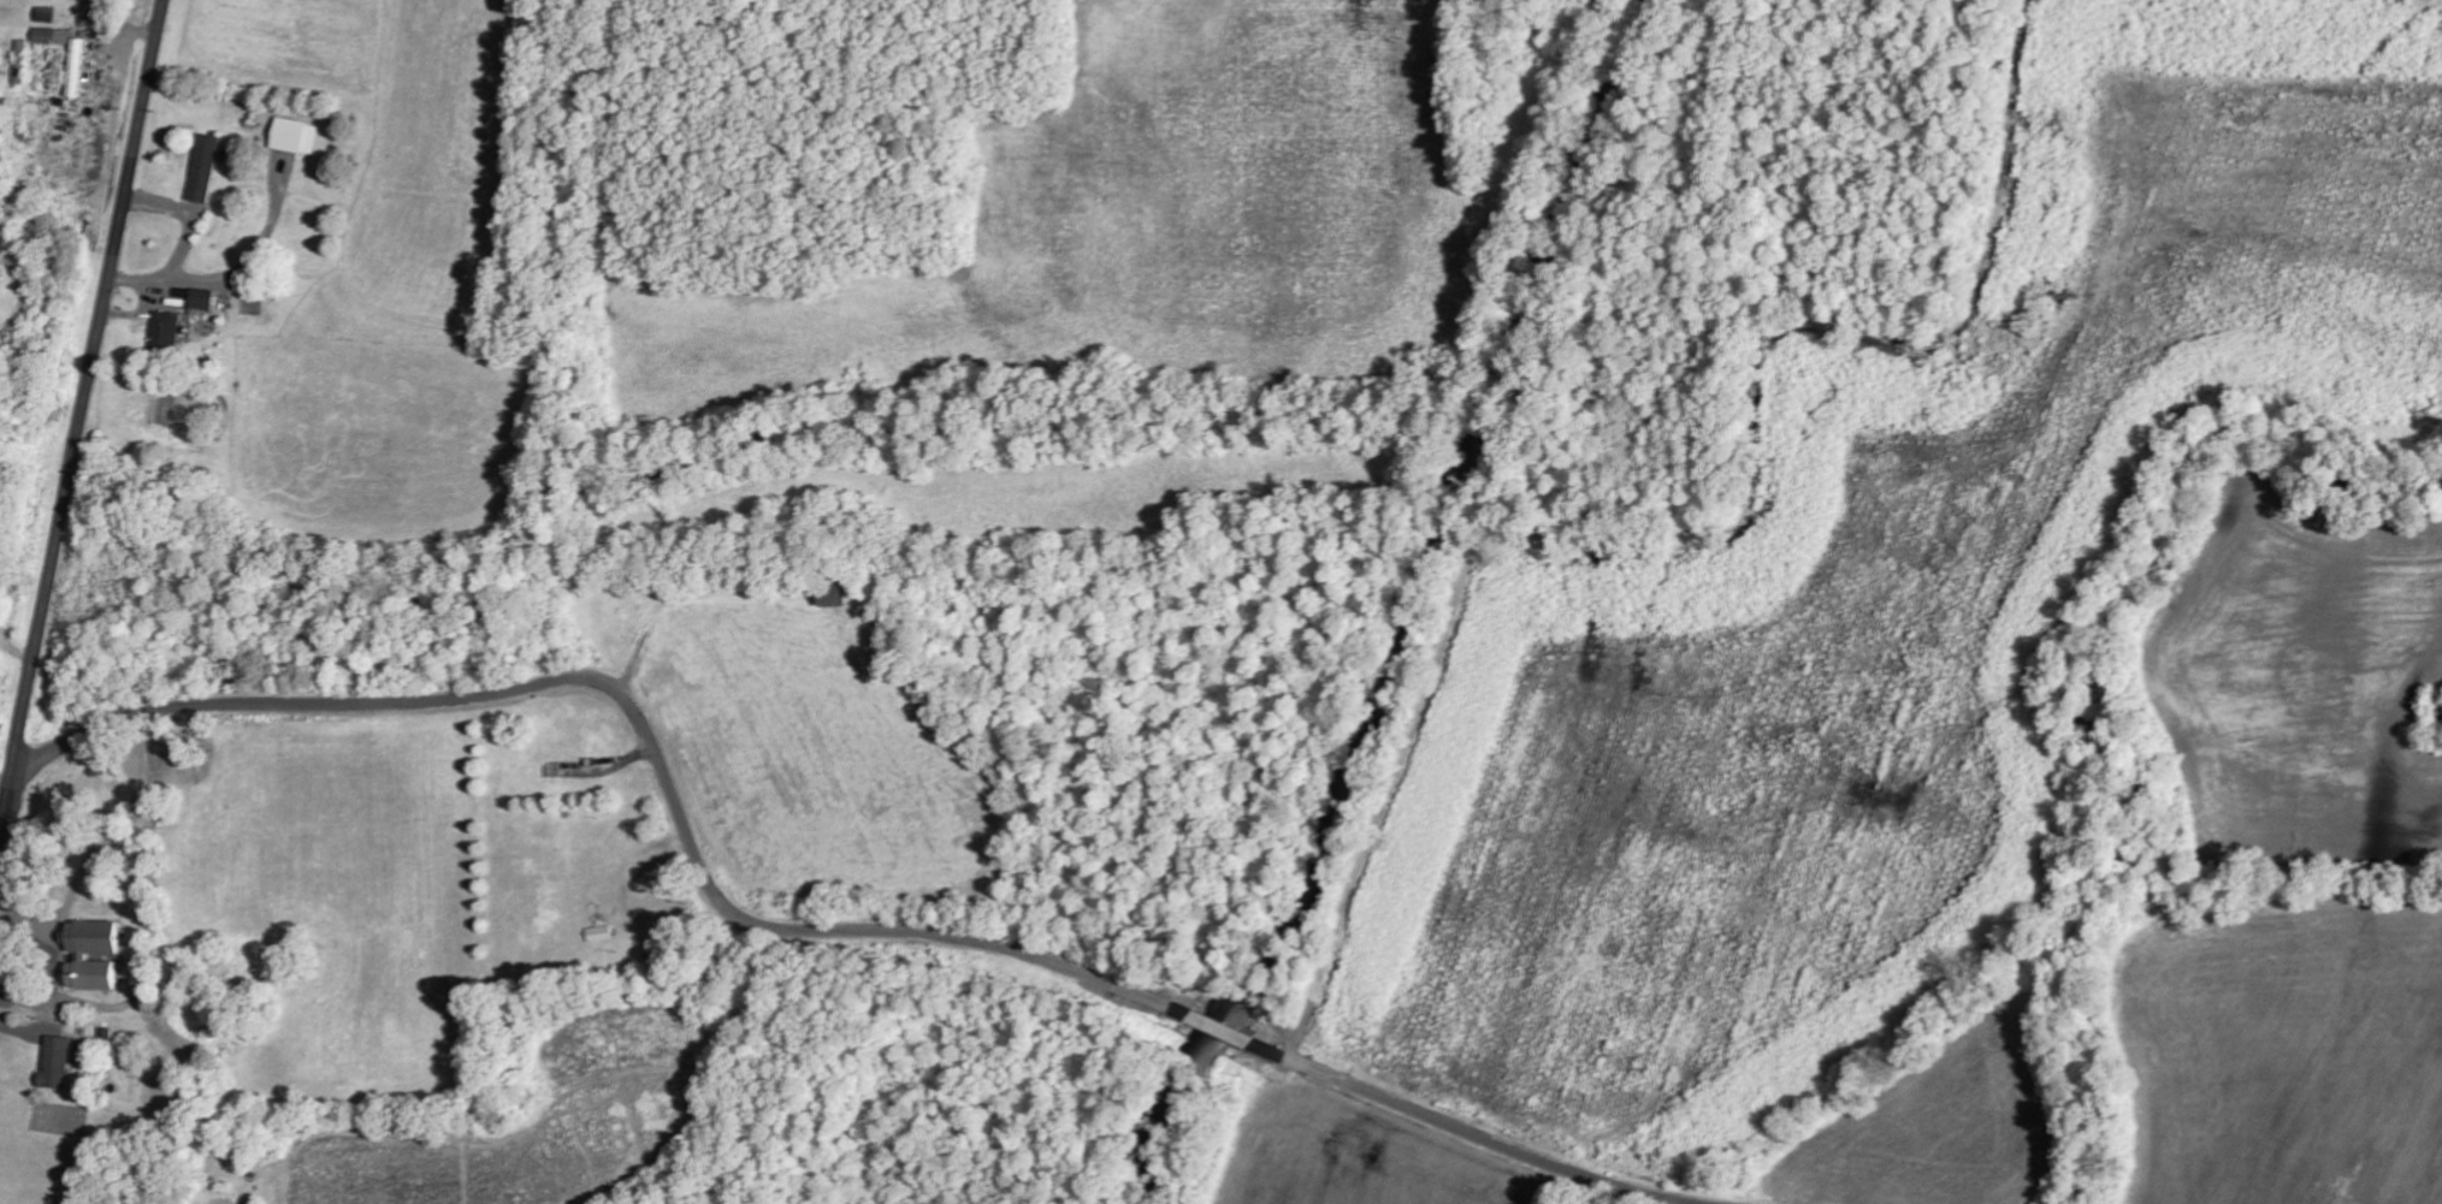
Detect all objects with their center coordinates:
building: (47, 35)
building: (300, 135)
building: (209, 167)
building: (208, 302)
building: (171, 331)
road: (82, 421)
road: (796, 932)
building: (101, 953)
road: (55, 965)
building: (61, 1061)

